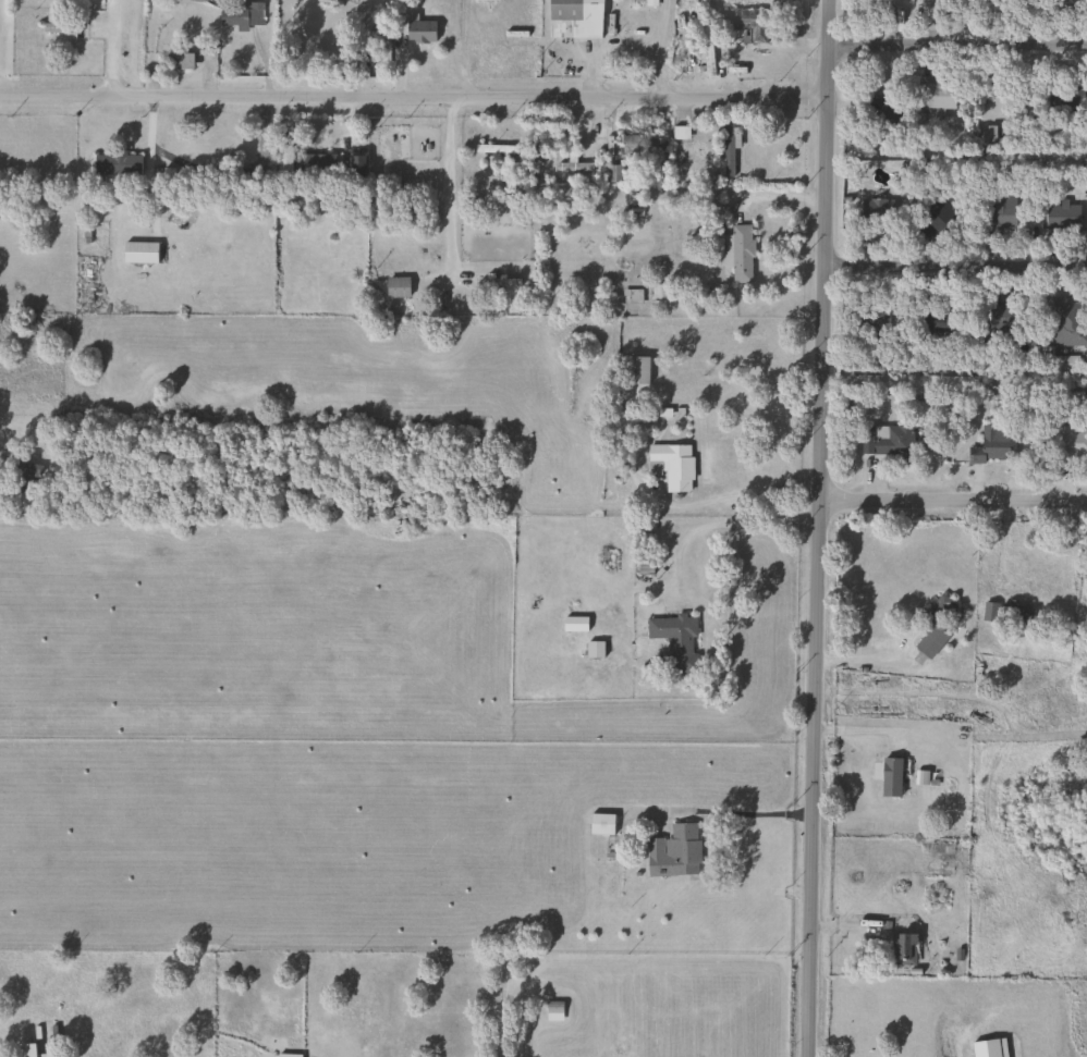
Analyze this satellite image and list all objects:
building: (926, 11)
building: (251, 13)
building: (577, 14)
building: (171, 22)
building: (747, 24)
building: (419, 30)
road: (956, 34)
road: (658, 42)
road: (109, 46)
road: (365, 46)
building: (707, 57)
building: (178, 61)
road: (413, 90)
building: (937, 96)
building: (635, 144)
building: (494, 150)
building: (726, 151)
building: (117, 164)
building: (315, 171)
building: (613, 174)
road: (445, 179)
road: (779, 196)
building: (392, 205)
building: (997, 212)
building: (1061, 218)
building: (935, 219)
building: (737, 253)
road: (953, 266)
building: (499, 283)
building: (396, 287)
building: (1006, 317)
building: (938, 322)
building: (1067, 322)
building: (636, 370)
road: (953, 379)
building: (887, 440)
building: (1070, 445)
building: (992, 446)
building: (670, 465)
building: (22, 478)
road: (728, 495)
road: (952, 499)
road: (721, 524)
road: (815, 528)
building: (1021, 616)
building: (933, 626)
building: (675, 641)
building: (593, 650)
road: (853, 657)
building: (890, 777)
road: (777, 814)
building: (600, 824)
building: (673, 851)
building: (940, 857)
building: (902, 949)
building: (553, 1011)
building: (28, 1048)
building: (289, 1055)

